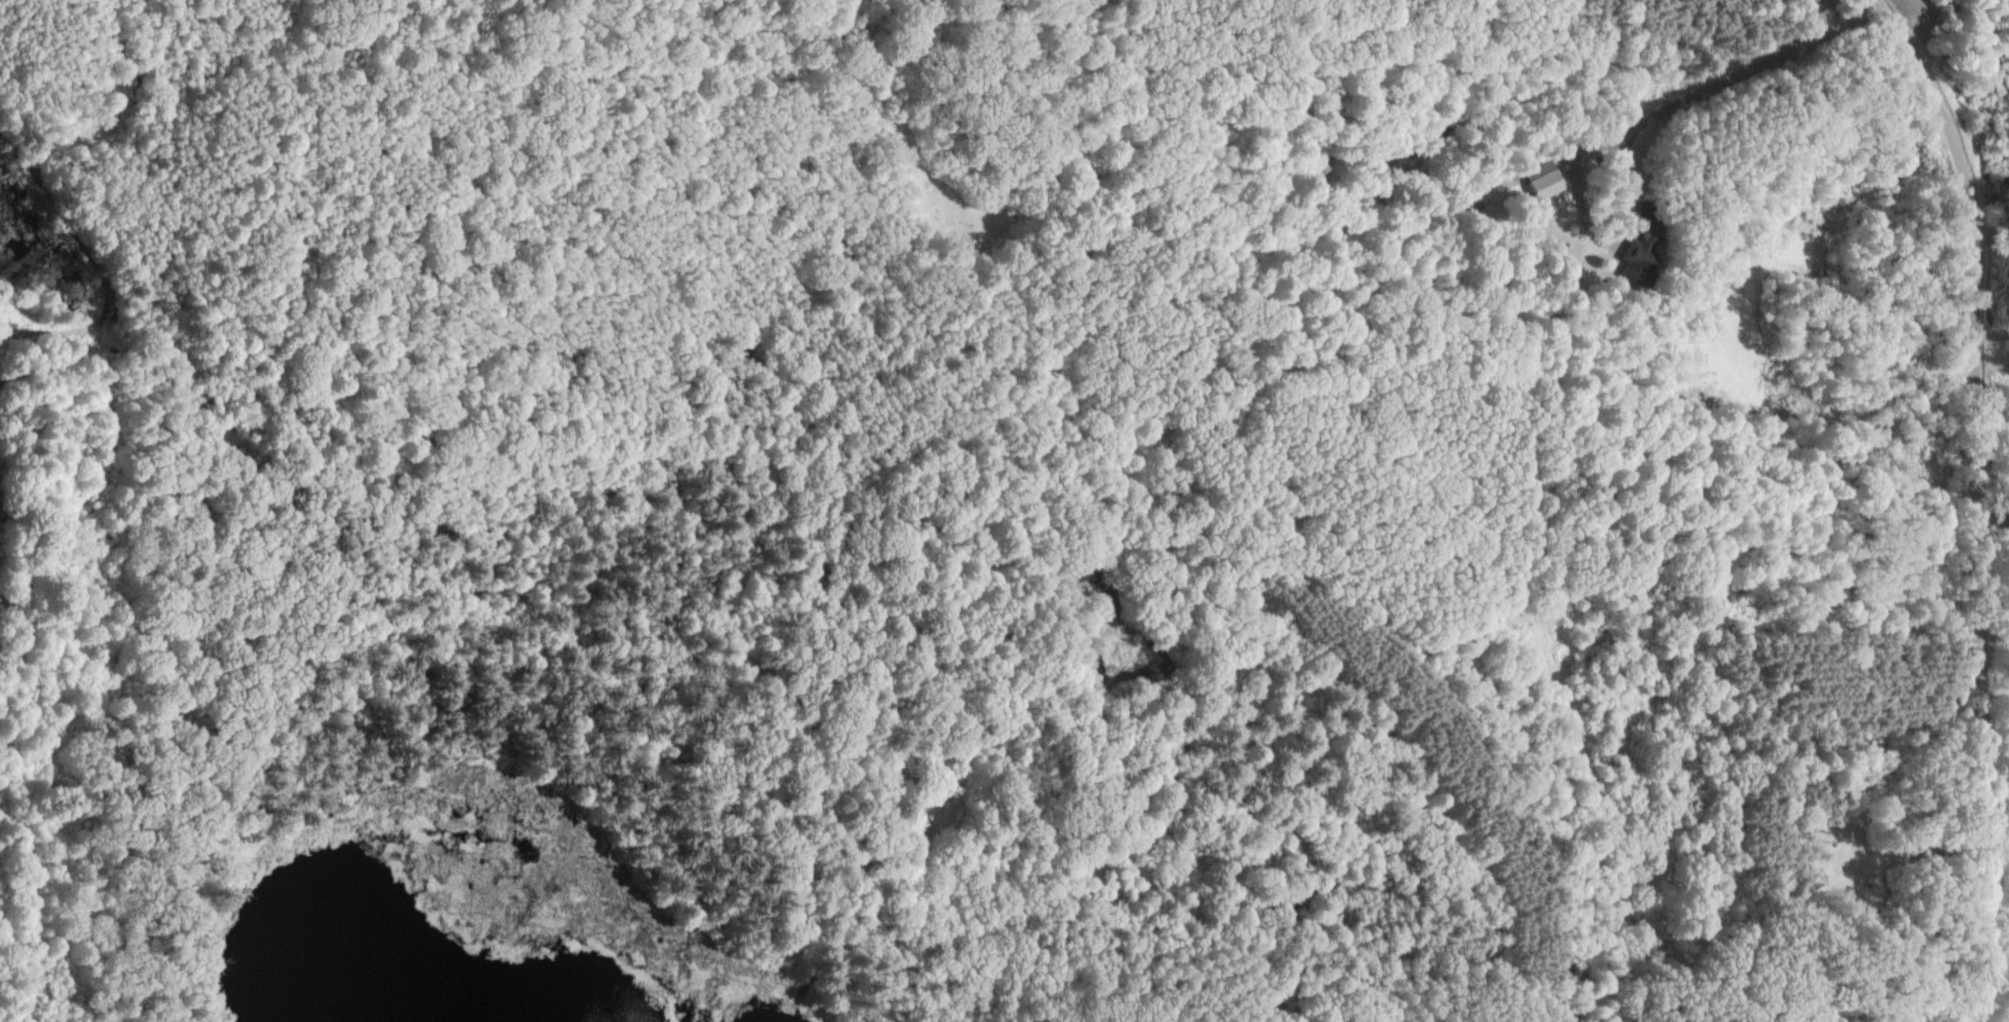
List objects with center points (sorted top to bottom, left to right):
road: (1710, 90)
building: (1535, 180)
building: (1633, 257)
road: (1980, 499)

